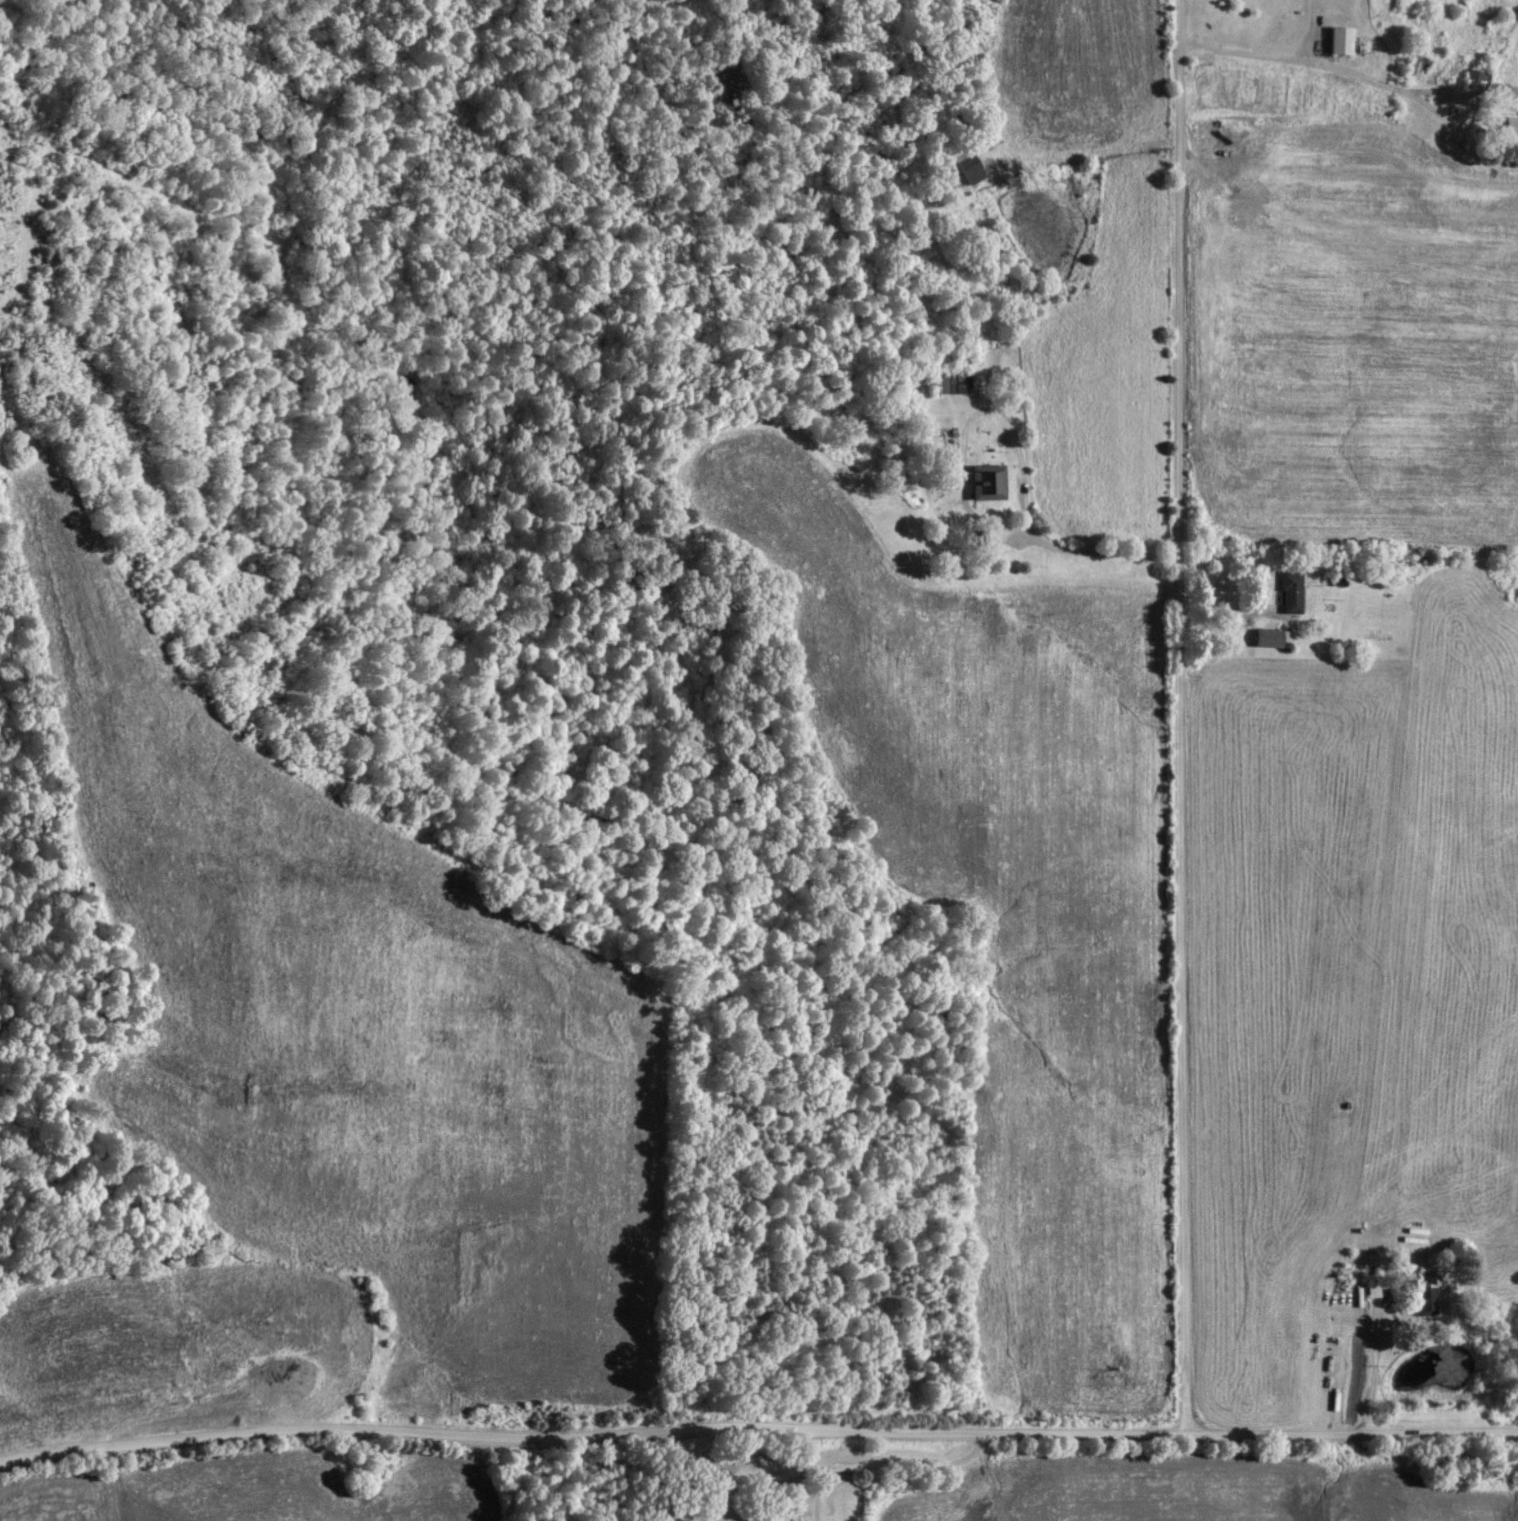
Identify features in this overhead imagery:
building: (1337, 38)
building: (1416, 64)
road: (1348, 67)
building: (1476, 79)
building: (1509, 124)
building: (966, 164)
building: (950, 380)
building: (985, 481)
building: (978, 537)
road: (1081, 553)
building: (1289, 591)
road: (1227, 608)
building: (1266, 636)
road: (1177, 716)
building: (1371, 1288)
building: (1423, 1297)
road: (1371, 1373)
road: (757, 1428)
road: (715, 1460)
road: (909, 1461)
park: (761, 1482)
road: (750, 1484)
road: (815, 1491)

